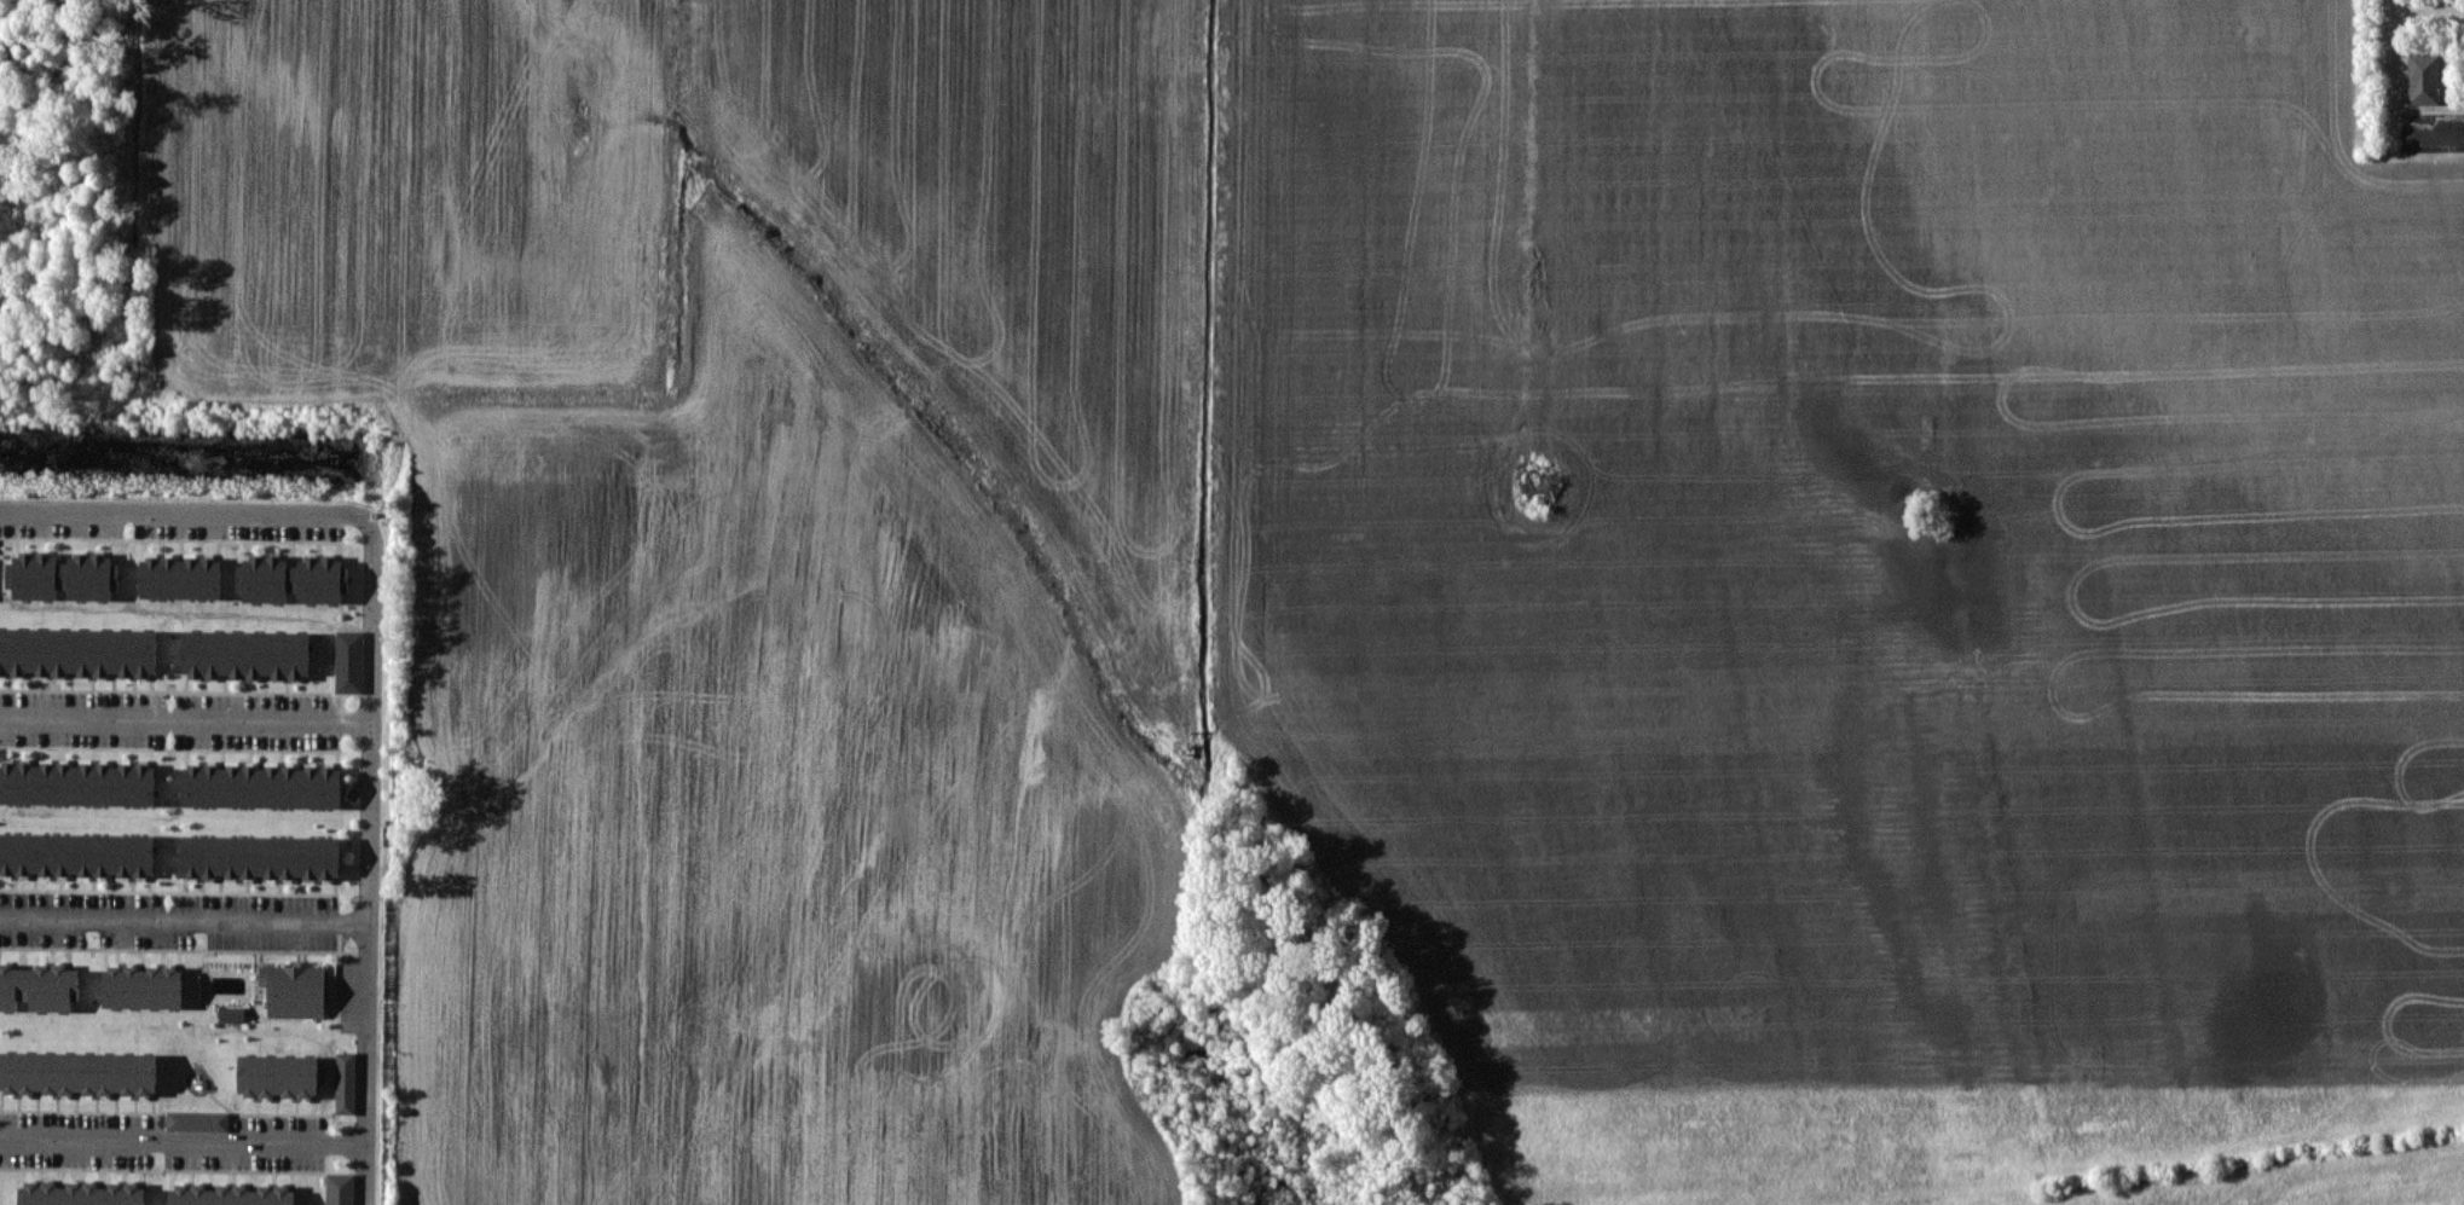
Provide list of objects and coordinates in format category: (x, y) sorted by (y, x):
building: (2423, 79)
road: (2441, 141)
building: (63, 575)
building: (181, 578)
building: (293, 579)
building: (79, 651)
building: (245, 654)
building: (349, 661)
road: (371, 677)
road: (185, 718)
building: (77, 783)
building: (261, 786)
building: (77, 853)
building: (261, 856)
road: (184, 919)
building: (39, 986)
building: (143, 986)
building: (295, 989)
building: (232, 1014)
building: (79, 1072)
building: (279, 1076)
building: (346, 1082)
building: (197, 1120)
road: (183, 1141)
building: (340, 1188)
building: (81, 1193)
building: (231, 1194)

